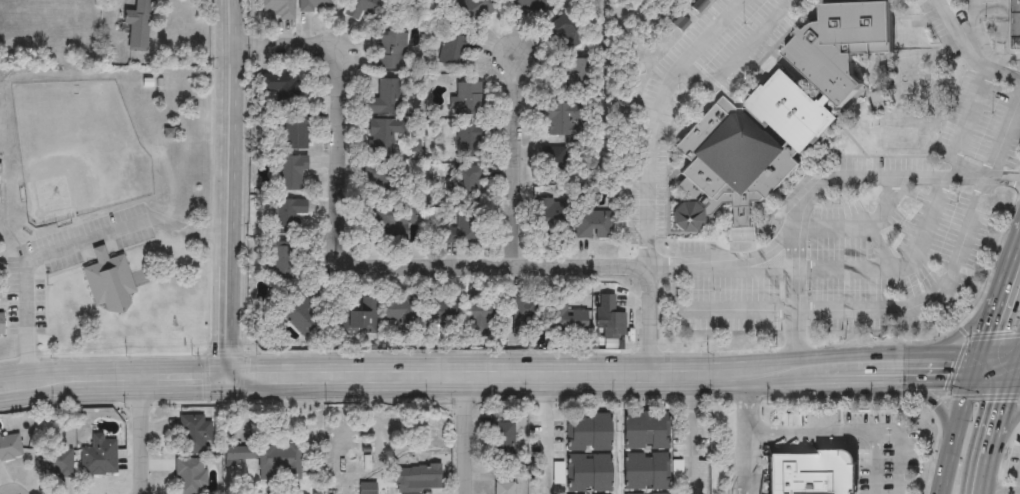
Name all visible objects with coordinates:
building: (316, 6)
building: (524, 6)
building: (366, 8)
building: (278, 9)
building: (476, 10)
building: (1015, 26)
building: (137, 27)
building: (566, 32)
building: (391, 52)
building: (455, 52)
road: (963, 54)
road: (736, 57)
building: (573, 76)
building: (152, 85)
parking lot: (978, 85)
building: (279, 90)
building: (385, 99)
building: (469, 101)
building: (560, 116)
road: (654, 120)
building: (775, 120)
road: (965, 123)
parking lot: (653, 131)
building: (295, 133)
building: (382, 136)
park: (899, 139)
road: (1002, 139)
building: (468, 141)
park: (76, 154)
road: (517, 157)
building: (553, 166)
building: (291, 173)
road: (874, 181)
building: (383, 183)
building: (467, 185)
road: (229, 196)
building: (287, 216)
building: (554, 216)
building: (593, 222)
road: (857, 225)
building: (386, 226)
building: (464, 230)
road: (74, 244)
road: (395, 252)
parking lot: (844, 255)
road: (889, 261)
building: (282, 262)
road: (763, 265)
road: (1011, 272)
building: (110, 283)
road: (927, 299)
road: (714, 309)
building: (445, 312)
building: (400, 313)
building: (479, 314)
building: (300, 315)
building: (523, 317)
building: (362, 318)
building: (565, 319)
building: (610, 320)
building: (1, 325)
road: (991, 327)
road: (963, 338)
traffic signals: (980, 355)
road: (184, 361)
traffic signals: (222, 361)
road: (73, 362)
road: (621, 363)
road: (975, 371)
road: (1017, 373)
road: (694, 374)
road: (914, 376)
road: (835, 379)
traffic signals: (973, 379)
road: (994, 379)
traffic signals: (1015, 380)
road: (1017, 380)
road: (519, 388)
traffic signals: (224, 392)
road: (111, 395)
road: (934, 402)
road: (1001, 420)
road: (143, 427)
road: (547, 427)
road: (466, 428)
road: (808, 430)
building: (588, 431)
building: (646, 431)
building: (193, 433)
road: (1003, 435)
road: (743, 438)
road: (694, 439)
building: (500, 440)
road: (953, 440)
building: (10, 446)
road: (896, 452)
building: (99, 455)
building: (233, 455)
building: (279, 458)
building: (56, 461)
road: (874, 462)
building: (588, 473)
building: (645, 473)
building: (814, 473)
building: (416, 475)
building: (190, 476)
road: (983, 476)
building: (501, 487)
building: (367, 488)
road: (997, 492)

